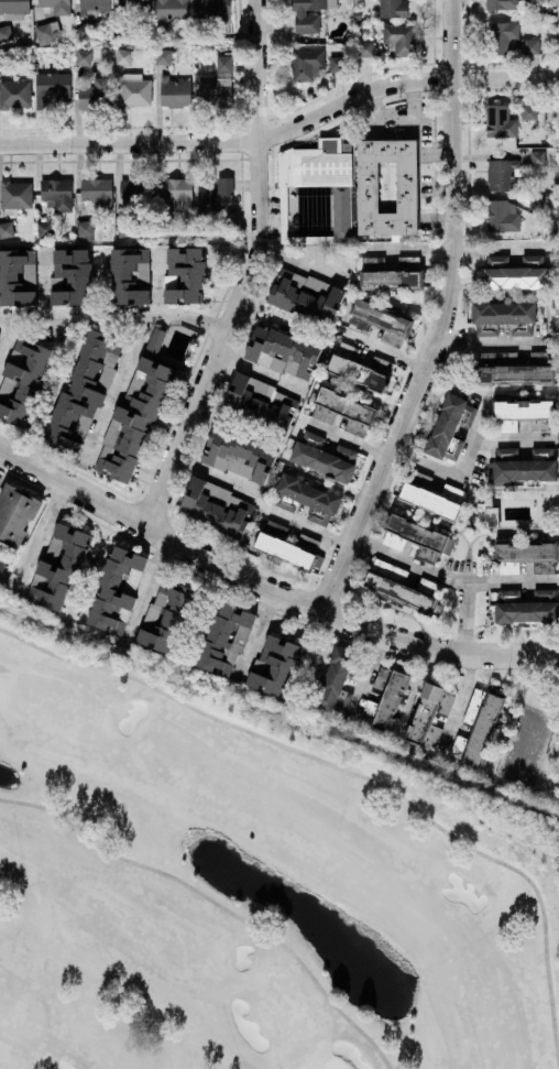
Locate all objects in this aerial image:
building: (133, 3)
building: (95, 4)
building: (502, 4)
building: (56, 6)
building: (393, 8)
building: (13, 9)
building: (212, 9)
building: (171, 11)
building: (309, 14)
building: (84, 31)
building: (47, 32)
building: (6, 33)
building: (503, 36)
building: (402, 39)
building: (531, 46)
building: (365, 48)
building: (123, 56)
building: (163, 56)
building: (84, 57)
building: (337, 63)
building: (306, 64)
building: (218, 84)
building: (52, 88)
building: (134, 89)
building: (175, 91)
building: (97, 92)
building: (15, 94)
building: (529, 111)
building: (500, 122)
road: (402, 129)
road: (279, 134)
road: (430, 146)
building: (538, 156)
building: (502, 174)
building: (387, 186)
building: (134, 189)
building: (58, 193)
building: (316, 193)
building: (17, 194)
building: (98, 194)
building: (216, 197)
building: (537, 205)
building: (503, 216)
building: (85, 228)
building: (7, 229)
building: (497, 261)
building: (533, 261)
road: (249, 272)
building: (392, 273)
building: (70, 275)
building: (130, 275)
building: (184, 275)
building: (18, 277)
building: (515, 277)
road: (155, 282)
road: (42, 283)
building: (306, 295)
building: (504, 313)
road: (87, 316)
road: (443, 318)
building: (381, 323)
road: (201, 324)
road: (4, 330)
building: (155, 340)
road: (491, 342)
building: (282, 351)
building: (540, 354)
building: (382, 366)
building: (512, 369)
road: (261, 372)
building: (358, 372)
building: (22, 382)
road: (118, 389)
building: (84, 392)
building: (262, 401)
building: (524, 408)
building: (344, 411)
building: (134, 418)
building: (541, 424)
building: (450, 427)
road: (513, 439)
road: (470, 446)
building: (506, 454)
building: (542, 454)
building: (239, 455)
building: (325, 457)
road: (424, 463)
building: (523, 471)
road: (213, 474)
building: (454, 492)
building: (310, 499)
building: (430, 501)
building: (218, 508)
building: (15, 514)
building: (486, 514)
building: (416, 535)
road: (41, 537)
building: (307, 542)
building: (282, 544)
building: (526, 552)
building: (2, 565)
building: (58, 569)
road: (452, 579)
road: (146, 587)
road: (264, 587)
building: (118, 589)
building: (399, 591)
building: (530, 609)
building: (167, 615)
road: (463, 619)
road: (253, 634)
building: (226, 637)
building: (275, 666)
road: (366, 674)
building: (337, 681)
building: (385, 698)
road: (457, 702)
building: (429, 715)
building: (476, 727)
park: (250, 883)

